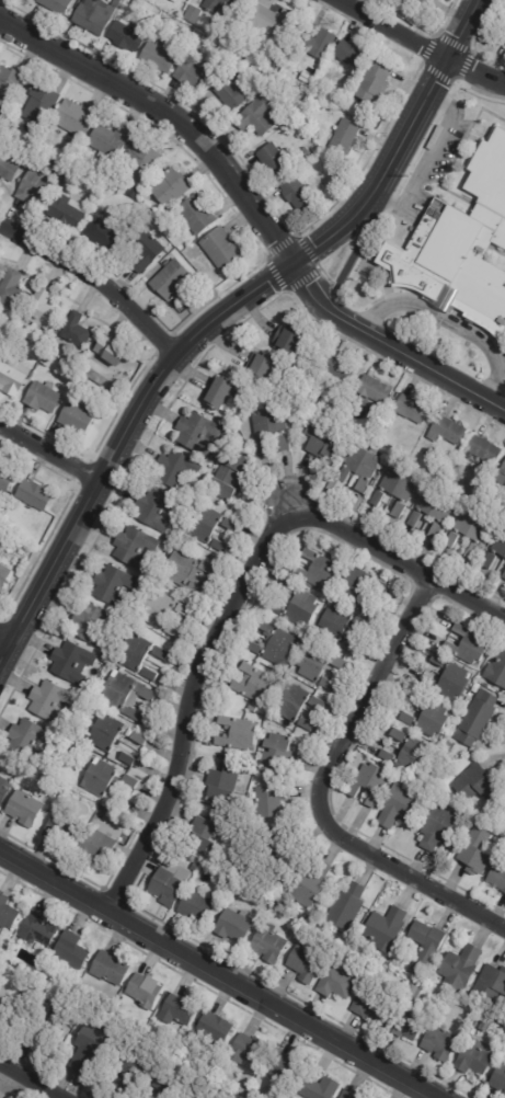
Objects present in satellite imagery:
building: (177, 1)
building: (428, 1)
building: (137, 2)
building: (220, 4)
building: (59, 5)
building: (194, 14)
building: (97, 15)
building: (273, 23)
building: (128, 37)
building: (321, 45)
road: (421, 45)
building: (355, 56)
building: (160, 57)
building: (273, 67)
building: (194, 75)
building: (12, 83)
building: (306, 84)
road: (473, 88)
building: (236, 89)
building: (374, 90)
building: (301, 96)
building: (337, 102)
road: (444, 102)
building: (44, 103)
road: (461, 108)
building: (76, 116)
building: (260, 117)
building: (113, 137)
building: (346, 137)
road: (416, 152)
road: (457, 152)
building: (305, 153)
building: (106, 157)
building: (277, 161)
road: (426, 161)
building: (145, 162)
building: (10, 167)
building: (77, 171)
building: (38, 186)
building: (173, 187)
building: (299, 194)
road: (389, 205)
road: (252, 207)
building: (72, 209)
building: (200, 214)
building: (139, 226)
building: (106, 231)
building: (460, 244)
building: (223, 248)
road: (497, 250)
building: (149, 251)
road: (352, 255)
road: (363, 258)
road: (94, 279)
building: (174, 281)
building: (14, 290)
road: (382, 296)
road: (447, 297)
building: (47, 307)
road: (375, 313)
road: (219, 314)
road: (449, 322)
building: (12, 323)
building: (78, 331)
building: (19, 342)
building: (289, 343)
building: (115, 350)
road: (431, 351)
road: (504, 356)
building: (49, 362)
building: (336, 368)
building: (263, 369)
building: (13, 375)
building: (82, 384)
road: (492, 387)
building: (371, 390)
building: (219, 393)
building: (45, 397)
road: (498, 407)
building: (410, 409)
building: (79, 416)
building: (266, 422)
building: (388, 423)
building: (445, 431)
building: (193, 432)
building: (322, 441)
building: (282, 444)
building: (257, 447)
building: (482, 451)
road: (49, 454)
building: (425, 454)
building: (359, 468)
building: (174, 471)
building: (501, 476)
building: (7, 478)
building: (226, 483)
building: (399, 484)
building: (36, 494)
building: (378, 501)
building: (435, 505)
building: (153, 512)
building: (398, 512)
building: (414, 519)
building: (204, 524)
building: (229, 525)
building: (472, 527)
building: (434, 531)
building: (4, 539)
building: (452, 542)
building: (500, 544)
building: (218, 545)
building: (134, 548)
building: (472, 552)
building: (332, 553)
building: (490, 562)
building: (185, 569)
building: (315, 569)
road: (391, 569)
building: (4, 576)
building: (504, 577)
building: (285, 585)
building: (355, 585)
building: (110, 586)
building: (380, 586)
building: (276, 607)
building: (366, 607)
building: (301, 608)
building: (156, 609)
building: (183, 610)
building: (335, 621)
building: (360, 622)
building: (89, 625)
building: (171, 630)
road: (5, 637)
building: (349, 643)
building: (272, 645)
building: (468, 645)
building: (134, 652)
building: (160, 653)
building: (436, 662)
building: (68, 663)
building: (312, 663)
building: (338, 663)
building: (496, 671)
building: (149, 674)
building: (426, 680)
building: (454, 683)
building: (254, 684)
building: (325, 684)
building: (473, 688)
building: (123, 693)
building: (415, 699)
building: (48, 701)
building: (289, 702)
building: (315, 704)
road: (183, 705)
building: (252, 708)
building: (406, 718)
building: (474, 719)
building: (433, 720)
building: (305, 723)
building: (105, 733)
building: (237, 733)
building: (397, 735)
building: (138, 737)
building: (26, 742)
building: (275, 755)
building: (386, 755)
building: (126, 758)
building: (412, 758)
building: (49, 759)
building: (100, 778)
building: (475, 781)
building: (129, 784)
building: (369, 784)
building: (223, 787)
building: (3, 790)
road: (321, 798)
building: (268, 801)
building: (118, 802)
building: (23, 808)
building: (399, 808)
building: (437, 827)
building: (59, 828)
building: (202, 834)
building: (94, 847)
building: (473, 851)
building: (163, 865)
building: (496, 879)
building: (309, 885)
building: (168, 888)
building: (345, 905)
building: (196, 908)
building: (5, 913)
building: (232, 927)
building: (34, 928)
building: (383, 929)
building: (266, 945)
building: (423, 947)
building: (69, 951)
building: (302, 965)
building: (458, 968)
building: (108, 969)
road: (219, 975)
building: (334, 984)
building: (489, 984)
building: (144, 991)
building: (409, 992)
building: (369, 1005)
building: (3, 1010)
building: (177, 1010)
building: (115, 1015)
building: (47, 1017)
building: (405, 1025)
building: (215, 1028)
building: (503, 1042)
building: (438, 1043)
building: (87, 1048)
building: (248, 1050)
building: (472, 1060)
building: (126, 1066)
building: (282, 1067)
building: (160, 1075)
building: (498, 1079)
road: (30, 1080)
building: (319, 1088)
building: (197, 1093)
building: (347, 1094)

